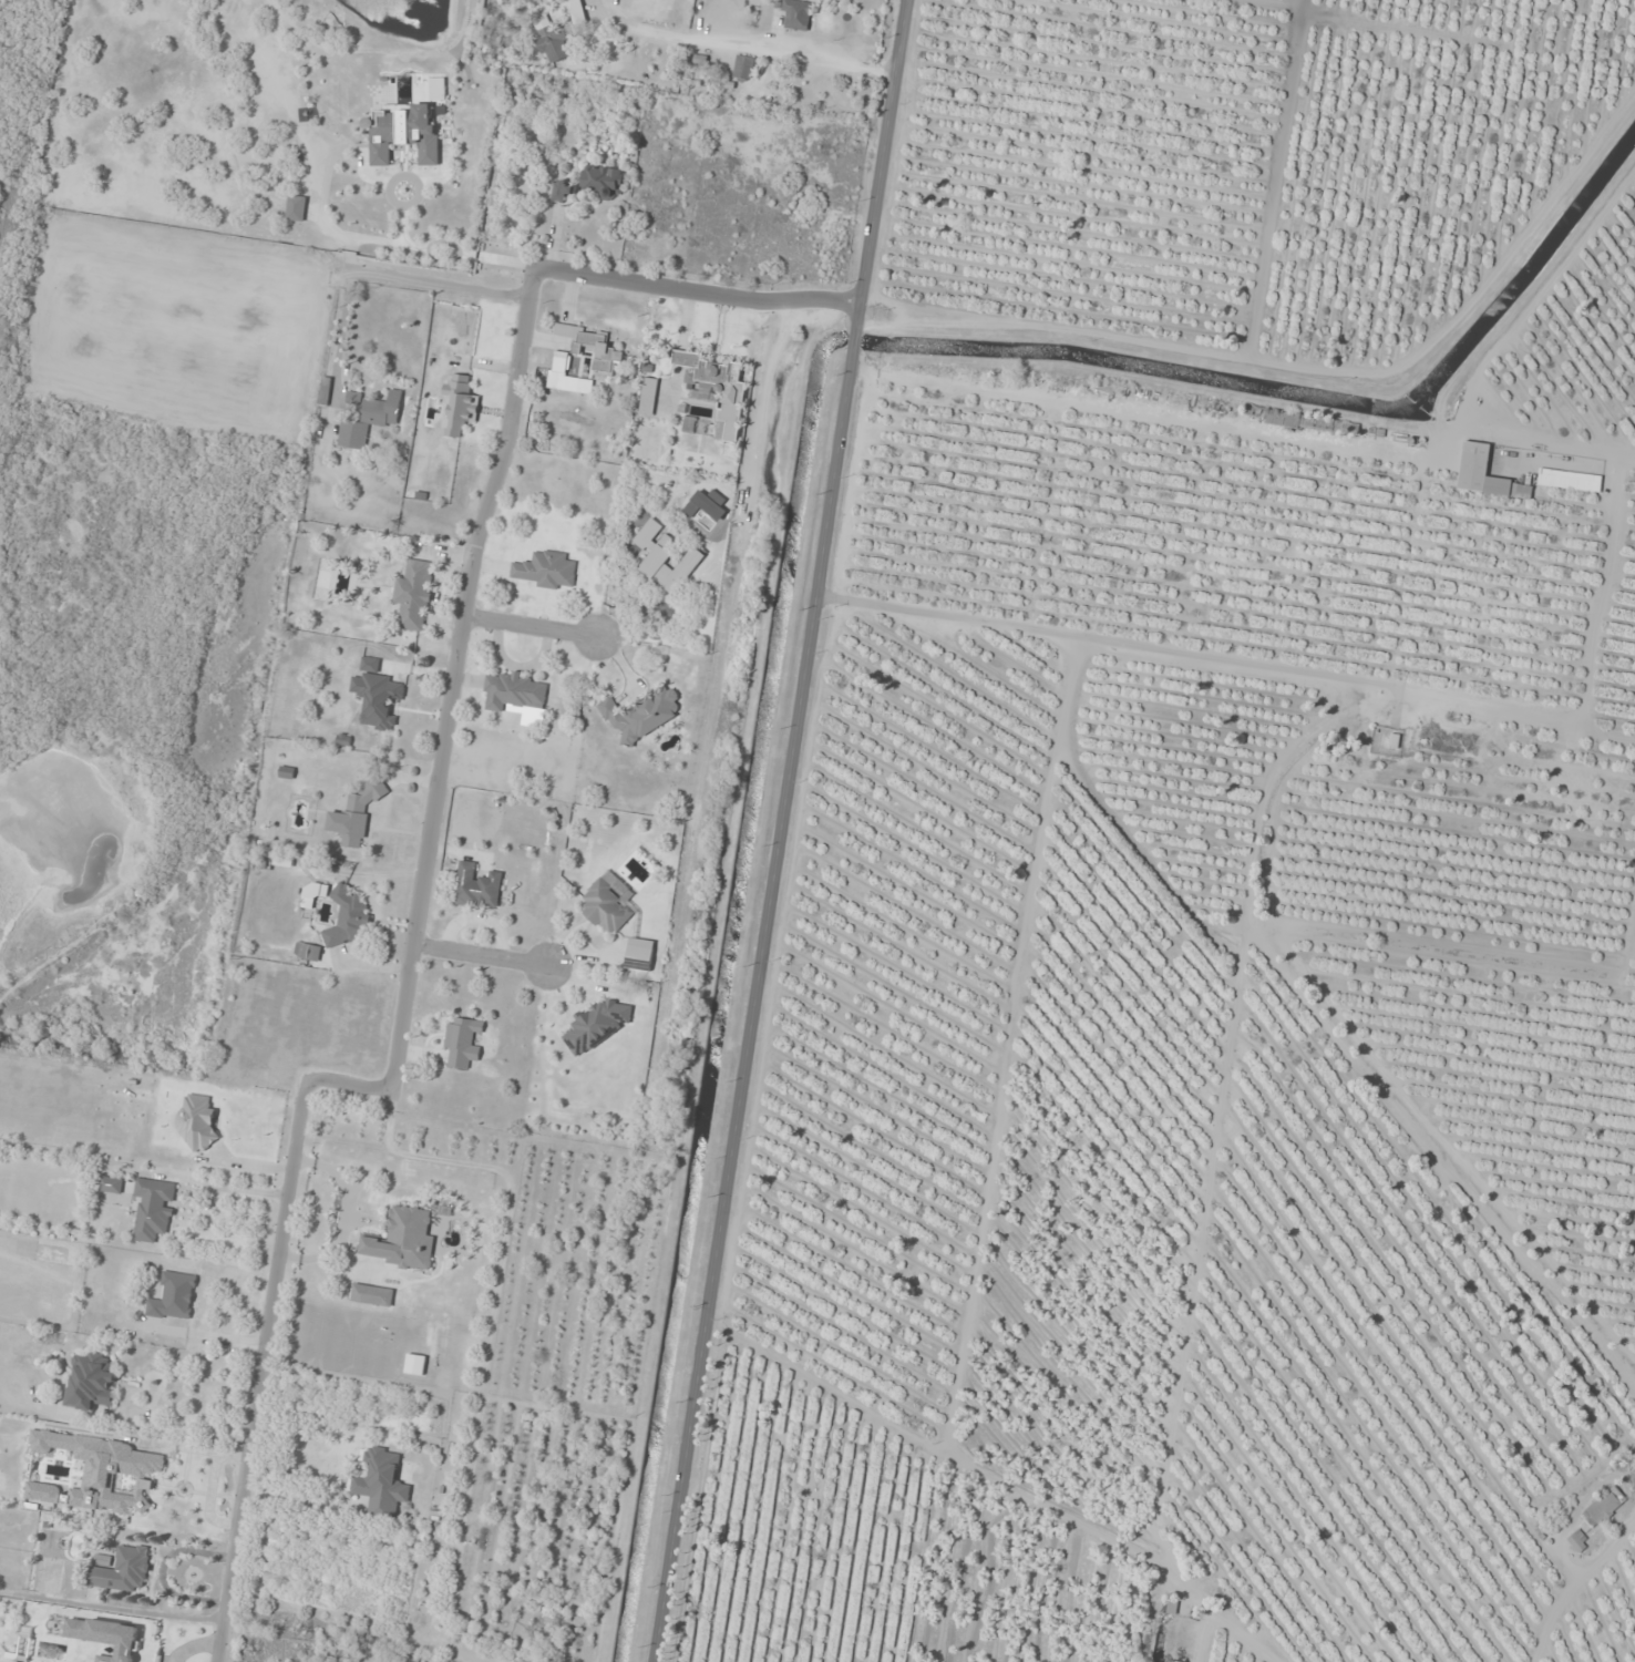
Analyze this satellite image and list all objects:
building: (577, 11)
building: (796, 14)
building: (544, 22)
building: (556, 47)
building: (743, 68)
building: (438, 89)
building: (403, 133)
building: (603, 182)
building: (565, 191)
building: (297, 208)
road: (700, 297)
building: (601, 348)
building: (710, 370)
building: (326, 391)
building: (460, 407)
building: (369, 418)
building: (1474, 461)
building: (1570, 480)
building: (545, 571)
building: (414, 595)
road: (533, 634)
road: (457, 679)
building: (512, 693)
building: (377, 696)
building: (642, 716)
building: (357, 814)
road: (783, 830)
building: (476, 886)
building: (313, 893)
building: (607, 907)
building: (347, 915)
building: (308, 952)
building: (639, 955)
building: (597, 1025)
building: (462, 1040)
building: (111, 1184)
building: (154, 1209)
building: (404, 1240)
building: (372, 1295)
building: (173, 1297)
building: (415, 1364)
building: (90, 1381)
building: (381, 1485)
building: (1603, 1508)
building: (1577, 1542)
building: (122, 1569)

